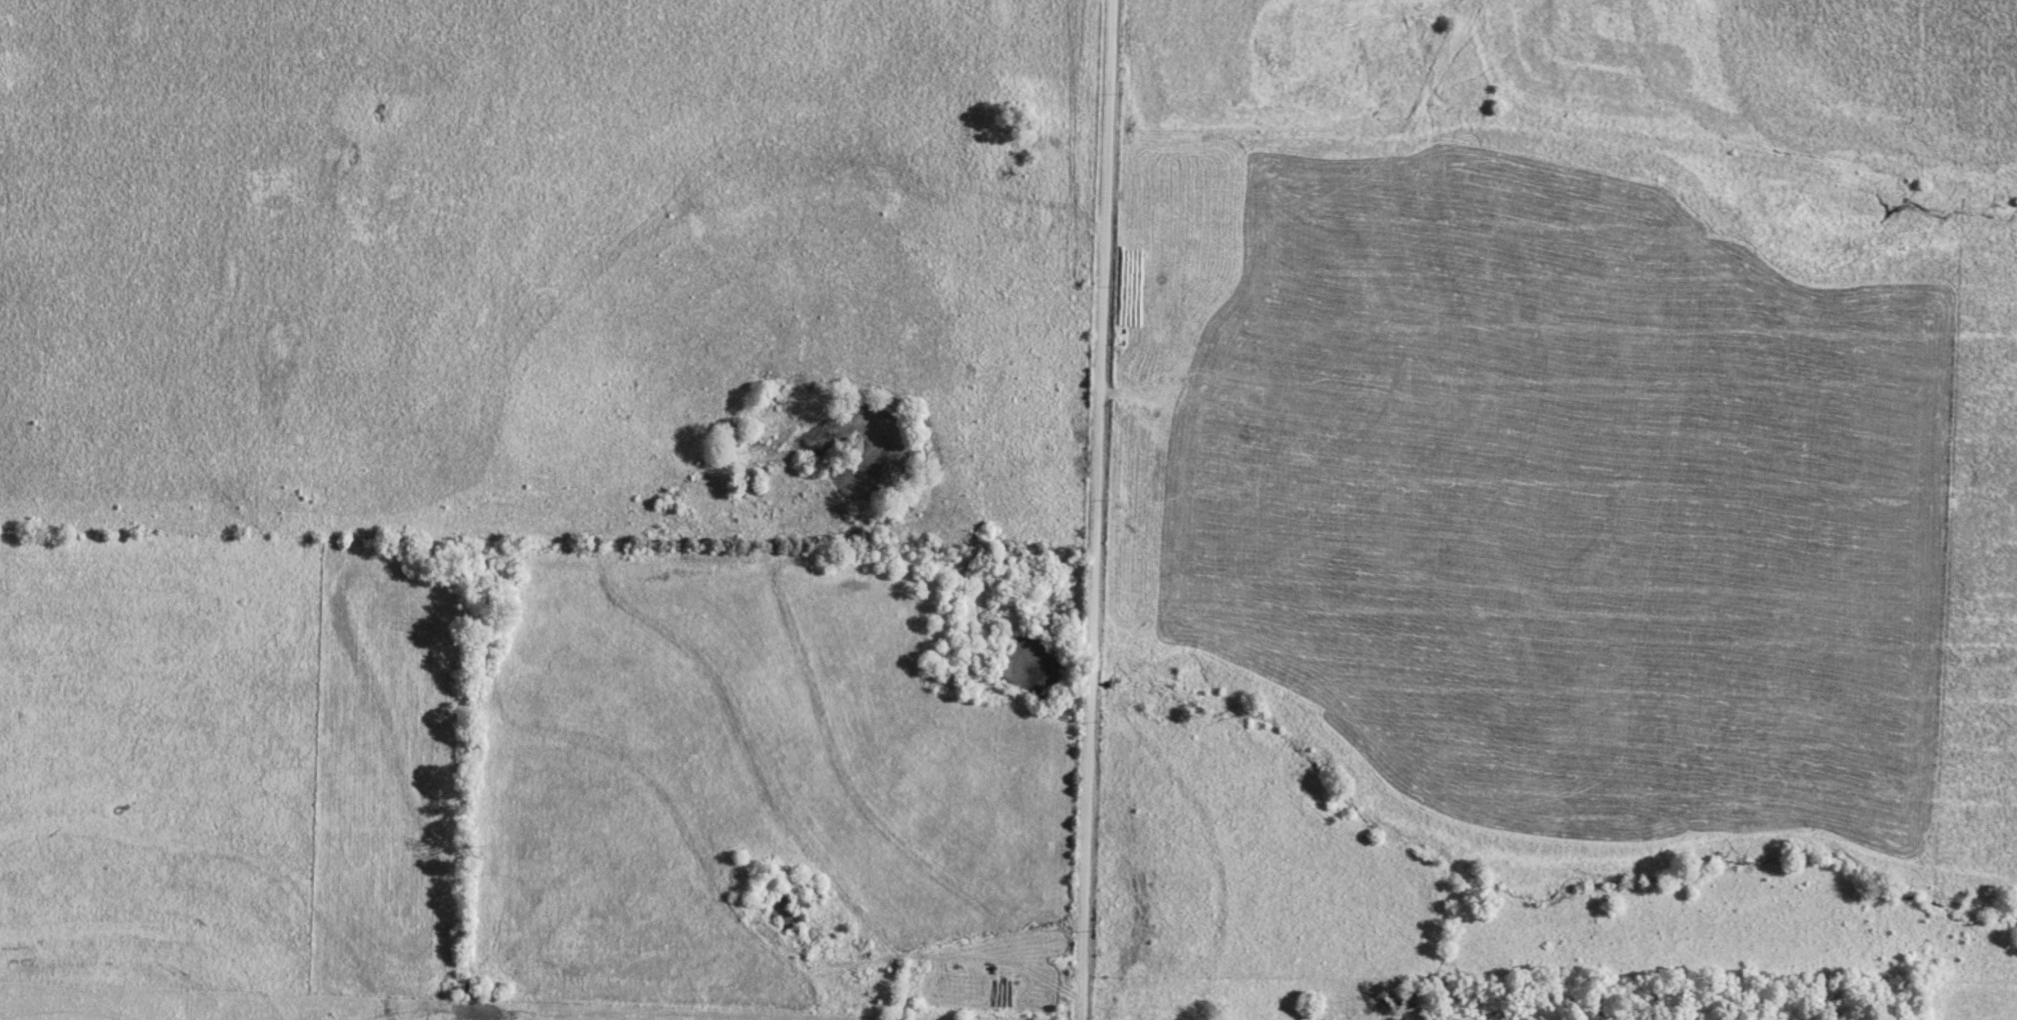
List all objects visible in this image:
building: (1253, 404)
road: (1094, 510)
building: (457, 986)
road: (690, 1011)

